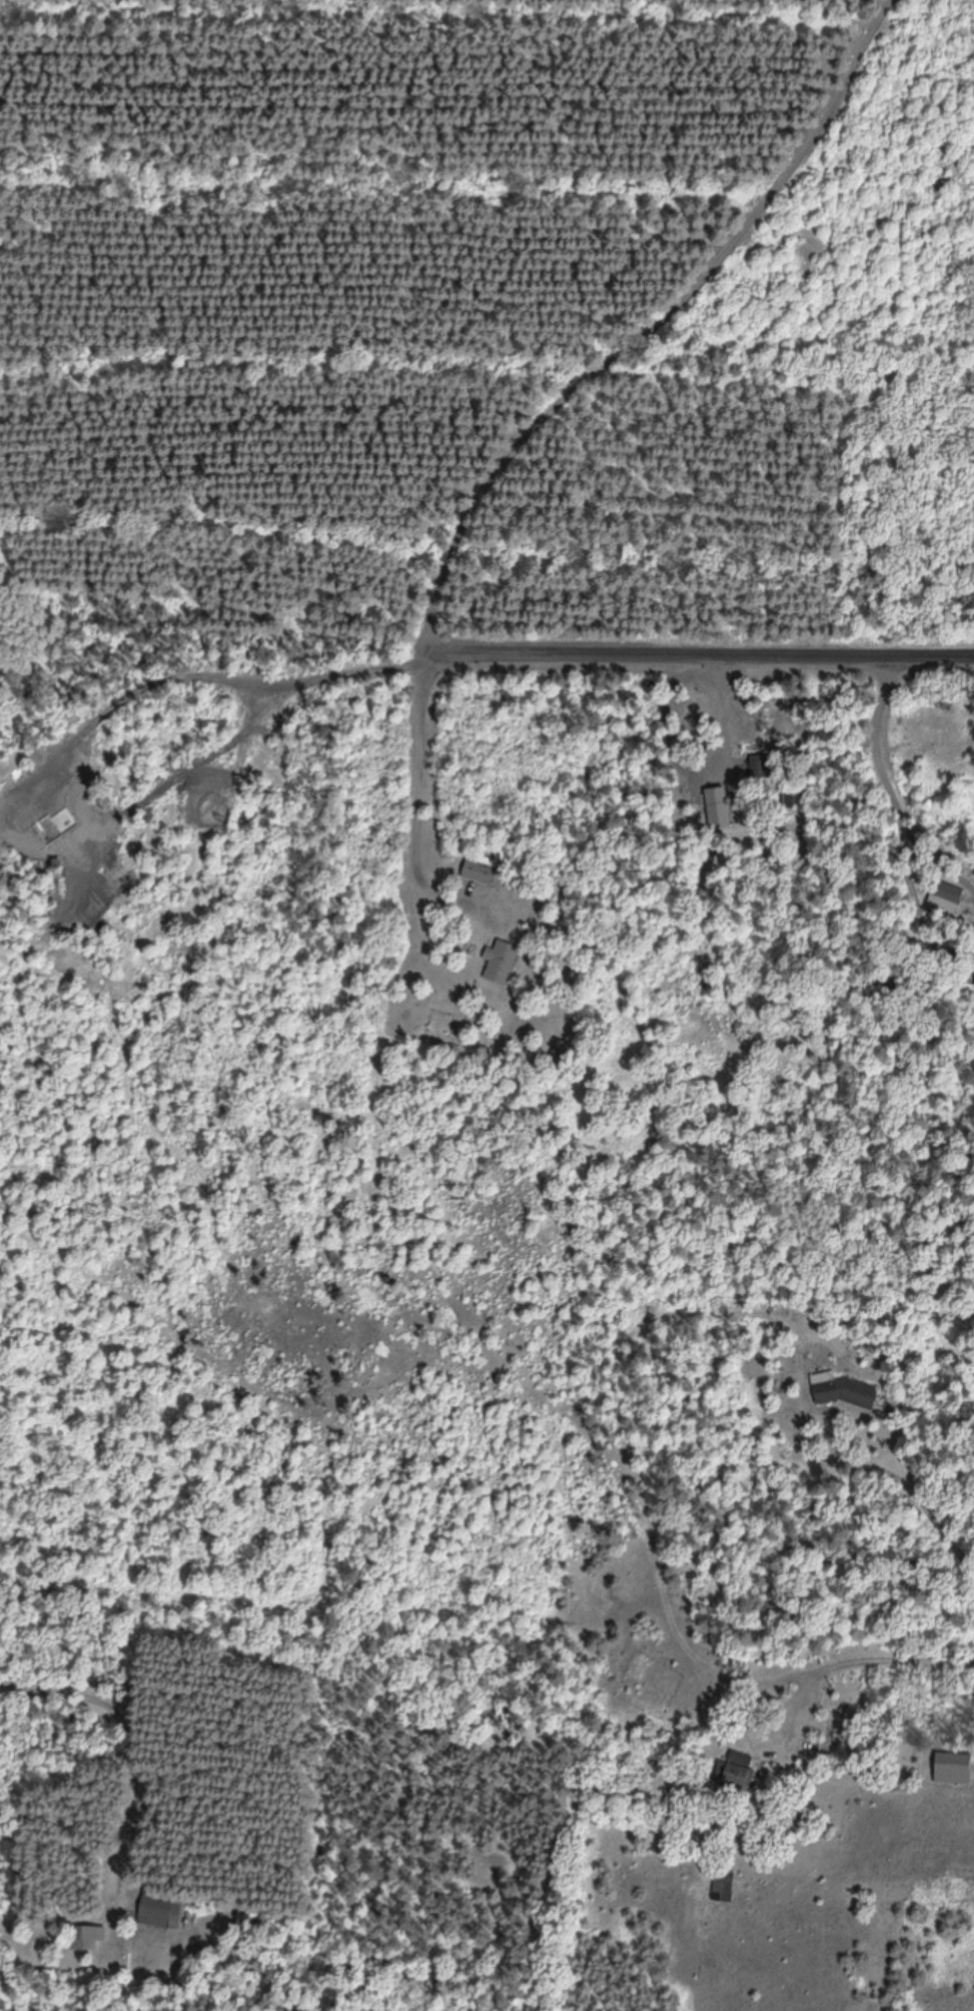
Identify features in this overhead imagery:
road: (657, 324)
road: (705, 643)
building: (761, 767)
building: (720, 814)
building: (480, 873)
building: (948, 892)
building: (501, 962)
building: (558, 1059)
building: (741, 1297)
building: (847, 1391)
building: (955, 1768)
building: (735, 1771)
building: (724, 1885)
building: (160, 1909)
building: (87, 1938)

